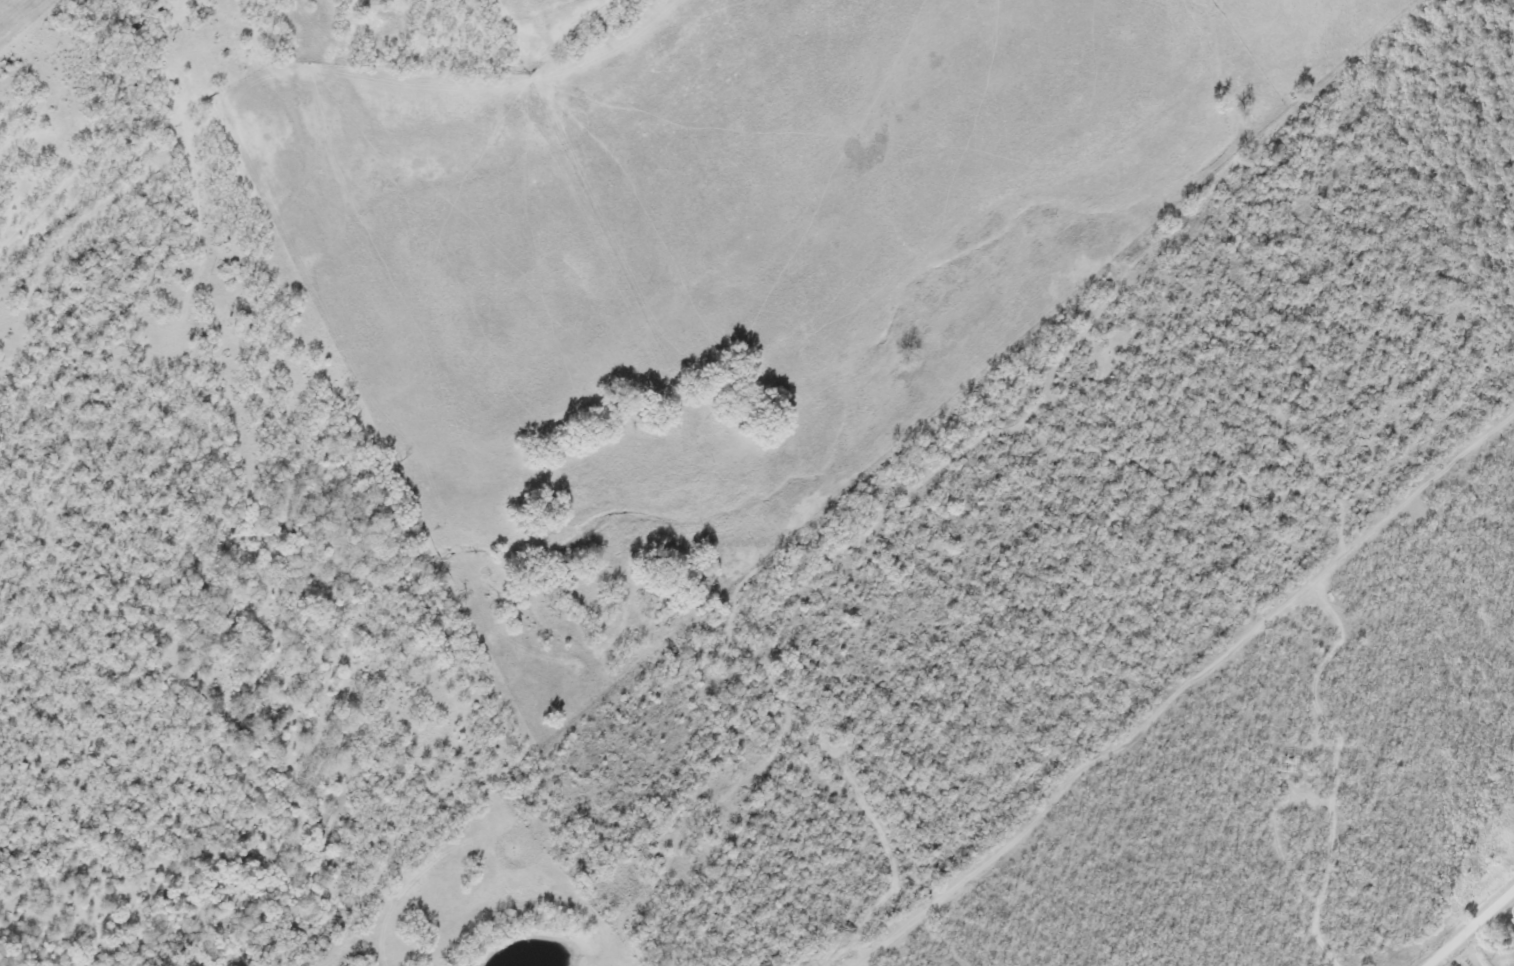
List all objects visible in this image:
road: (1472, 929)

